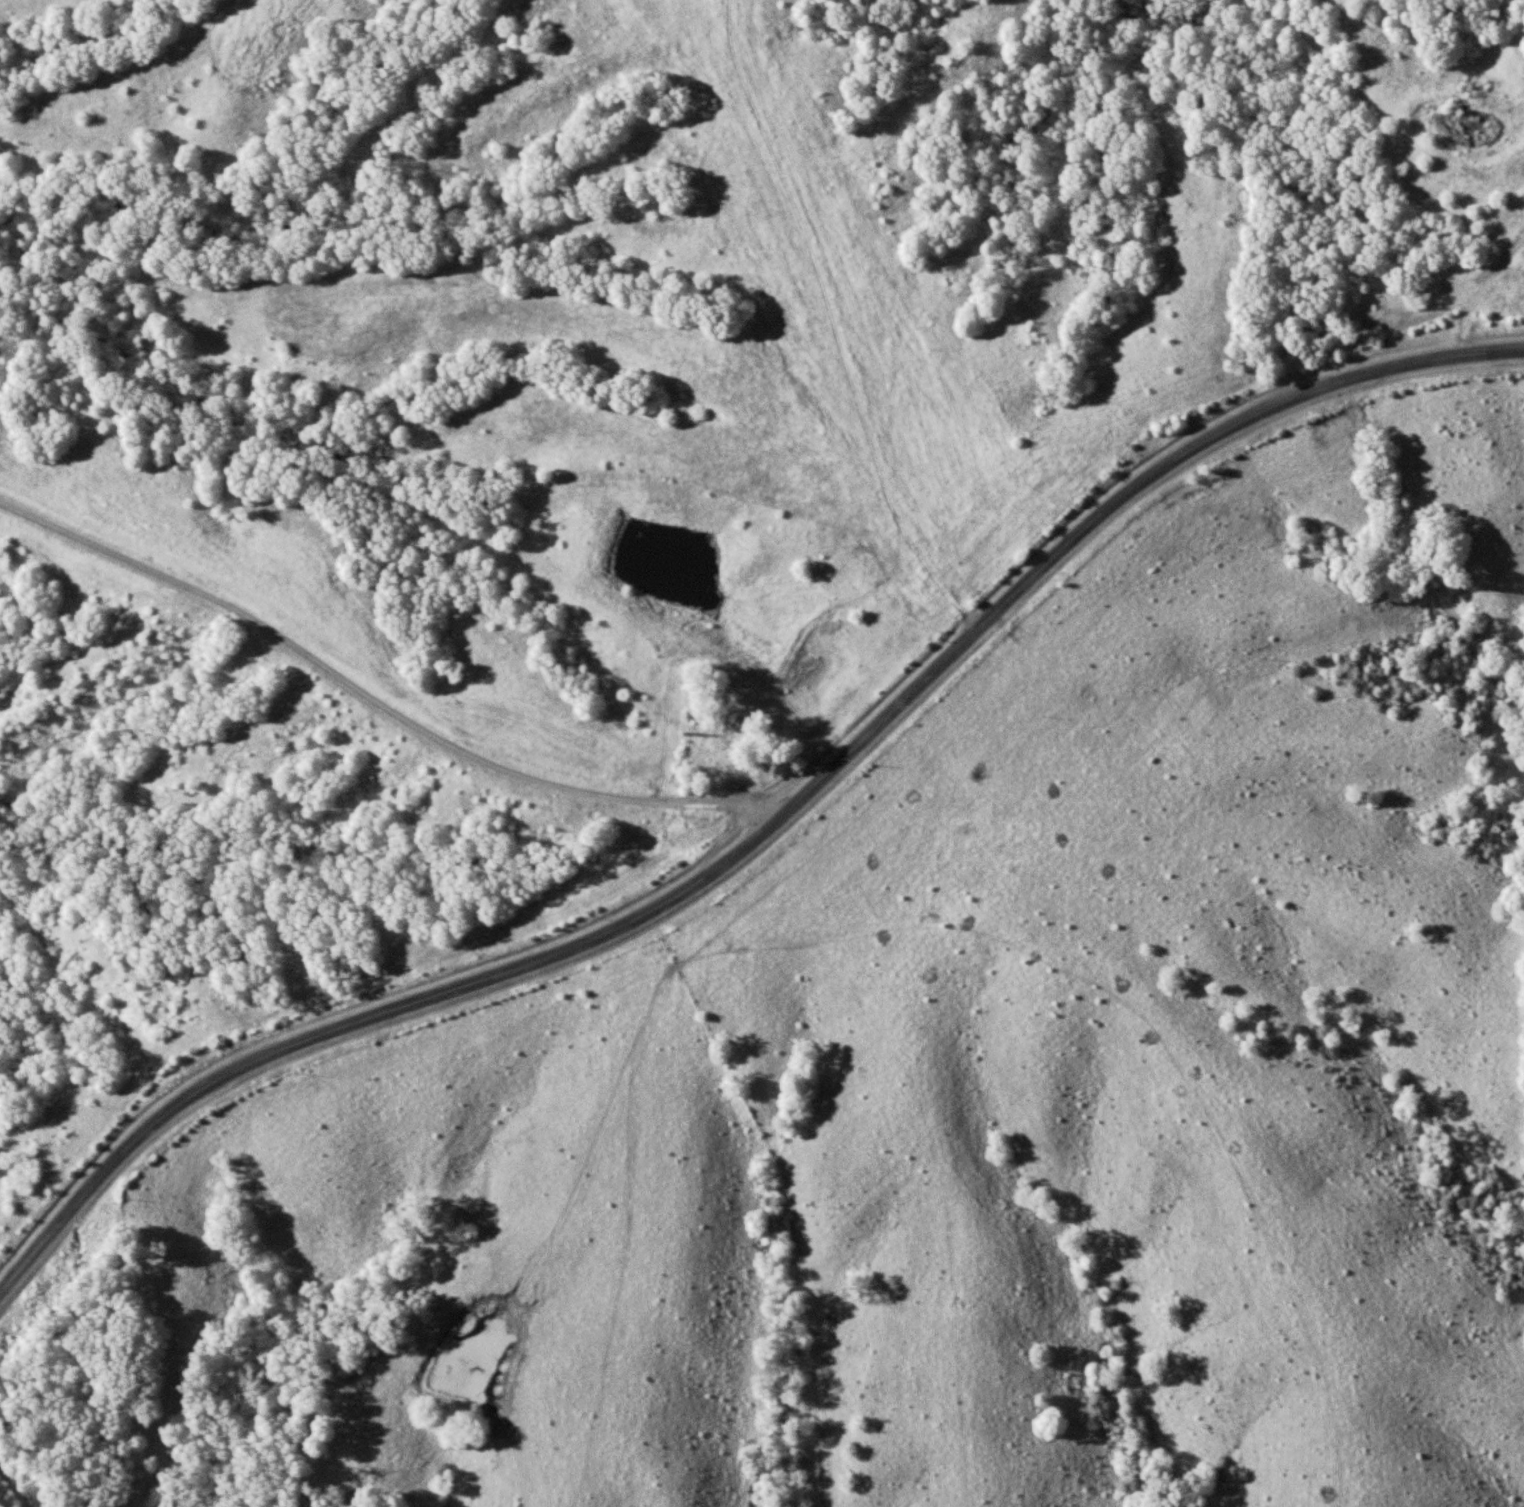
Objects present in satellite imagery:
road: (378, 691)
road: (773, 824)

